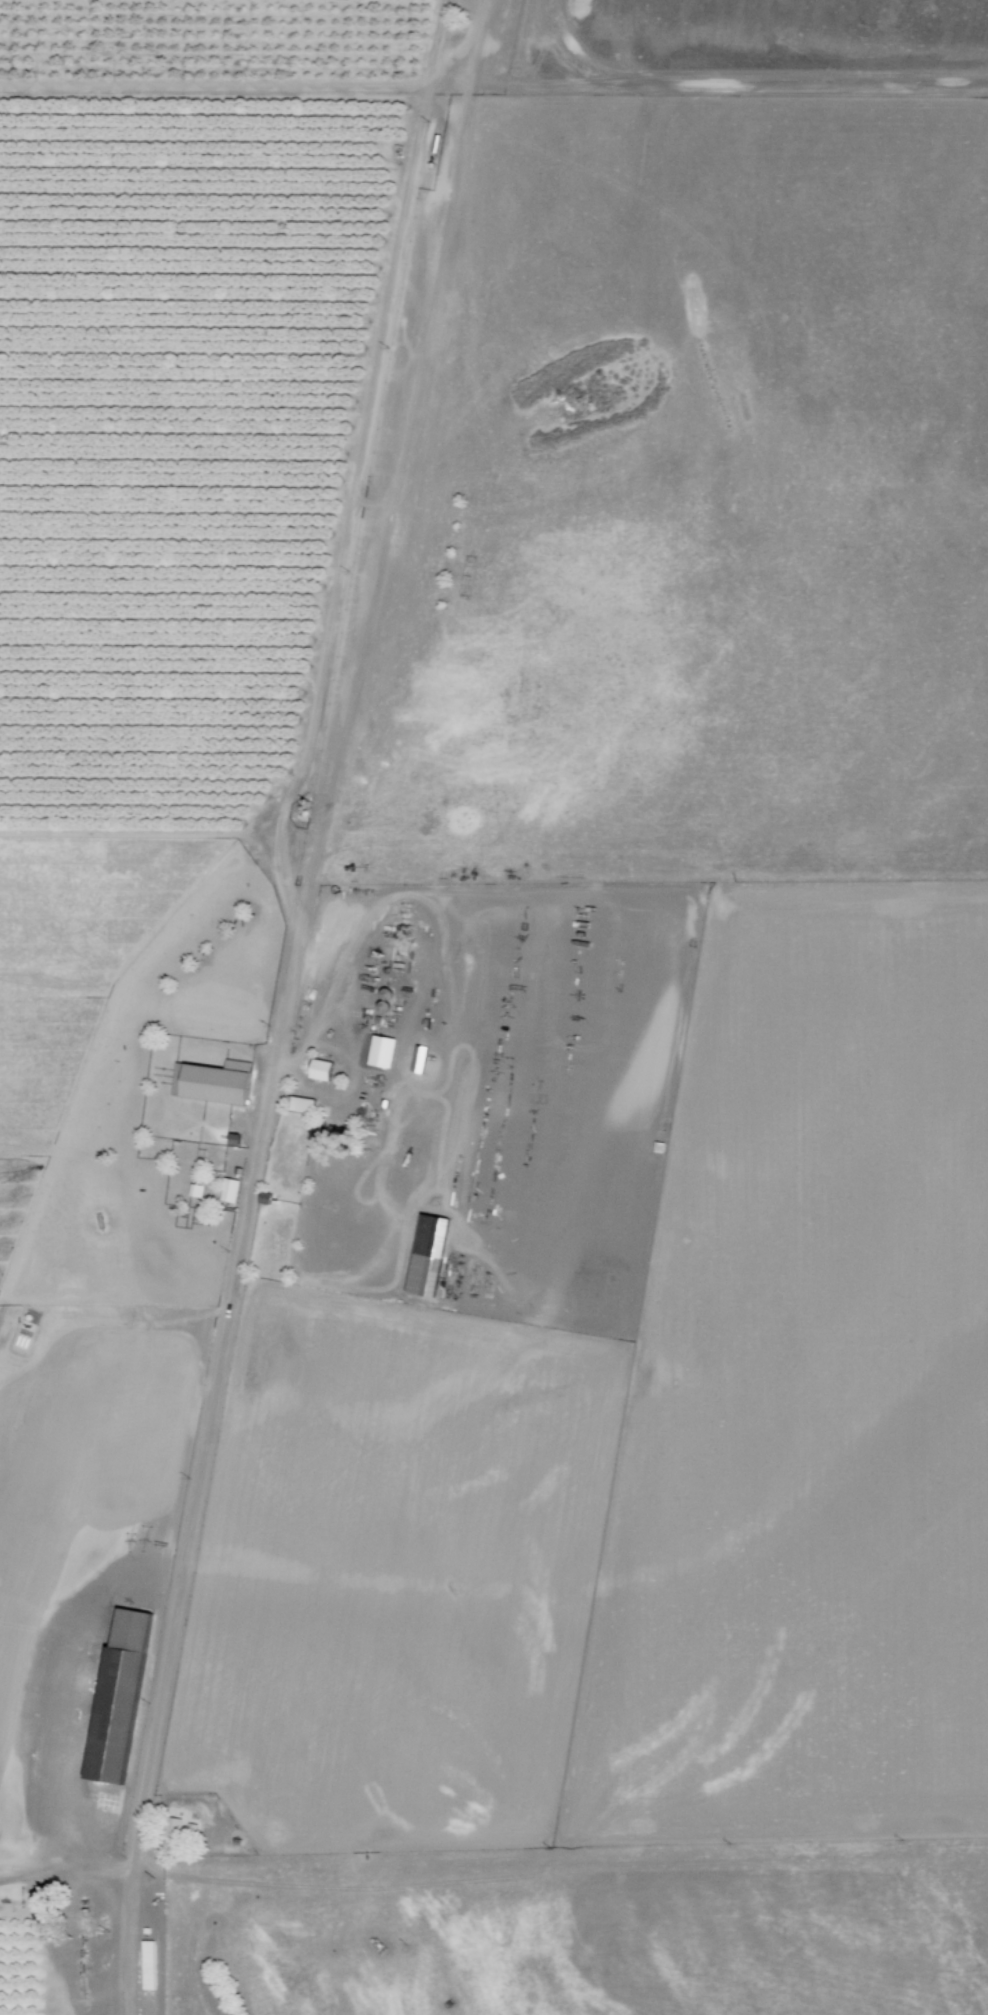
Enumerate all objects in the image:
quarry: (752, 48)
road: (305, 773)
building: (381, 1051)
building: (322, 1069)
building: (213, 1082)
building: (302, 1104)
building: (195, 1190)
building: (229, 1190)
building: (425, 1274)
building: (119, 1696)
building: (173, 1828)

